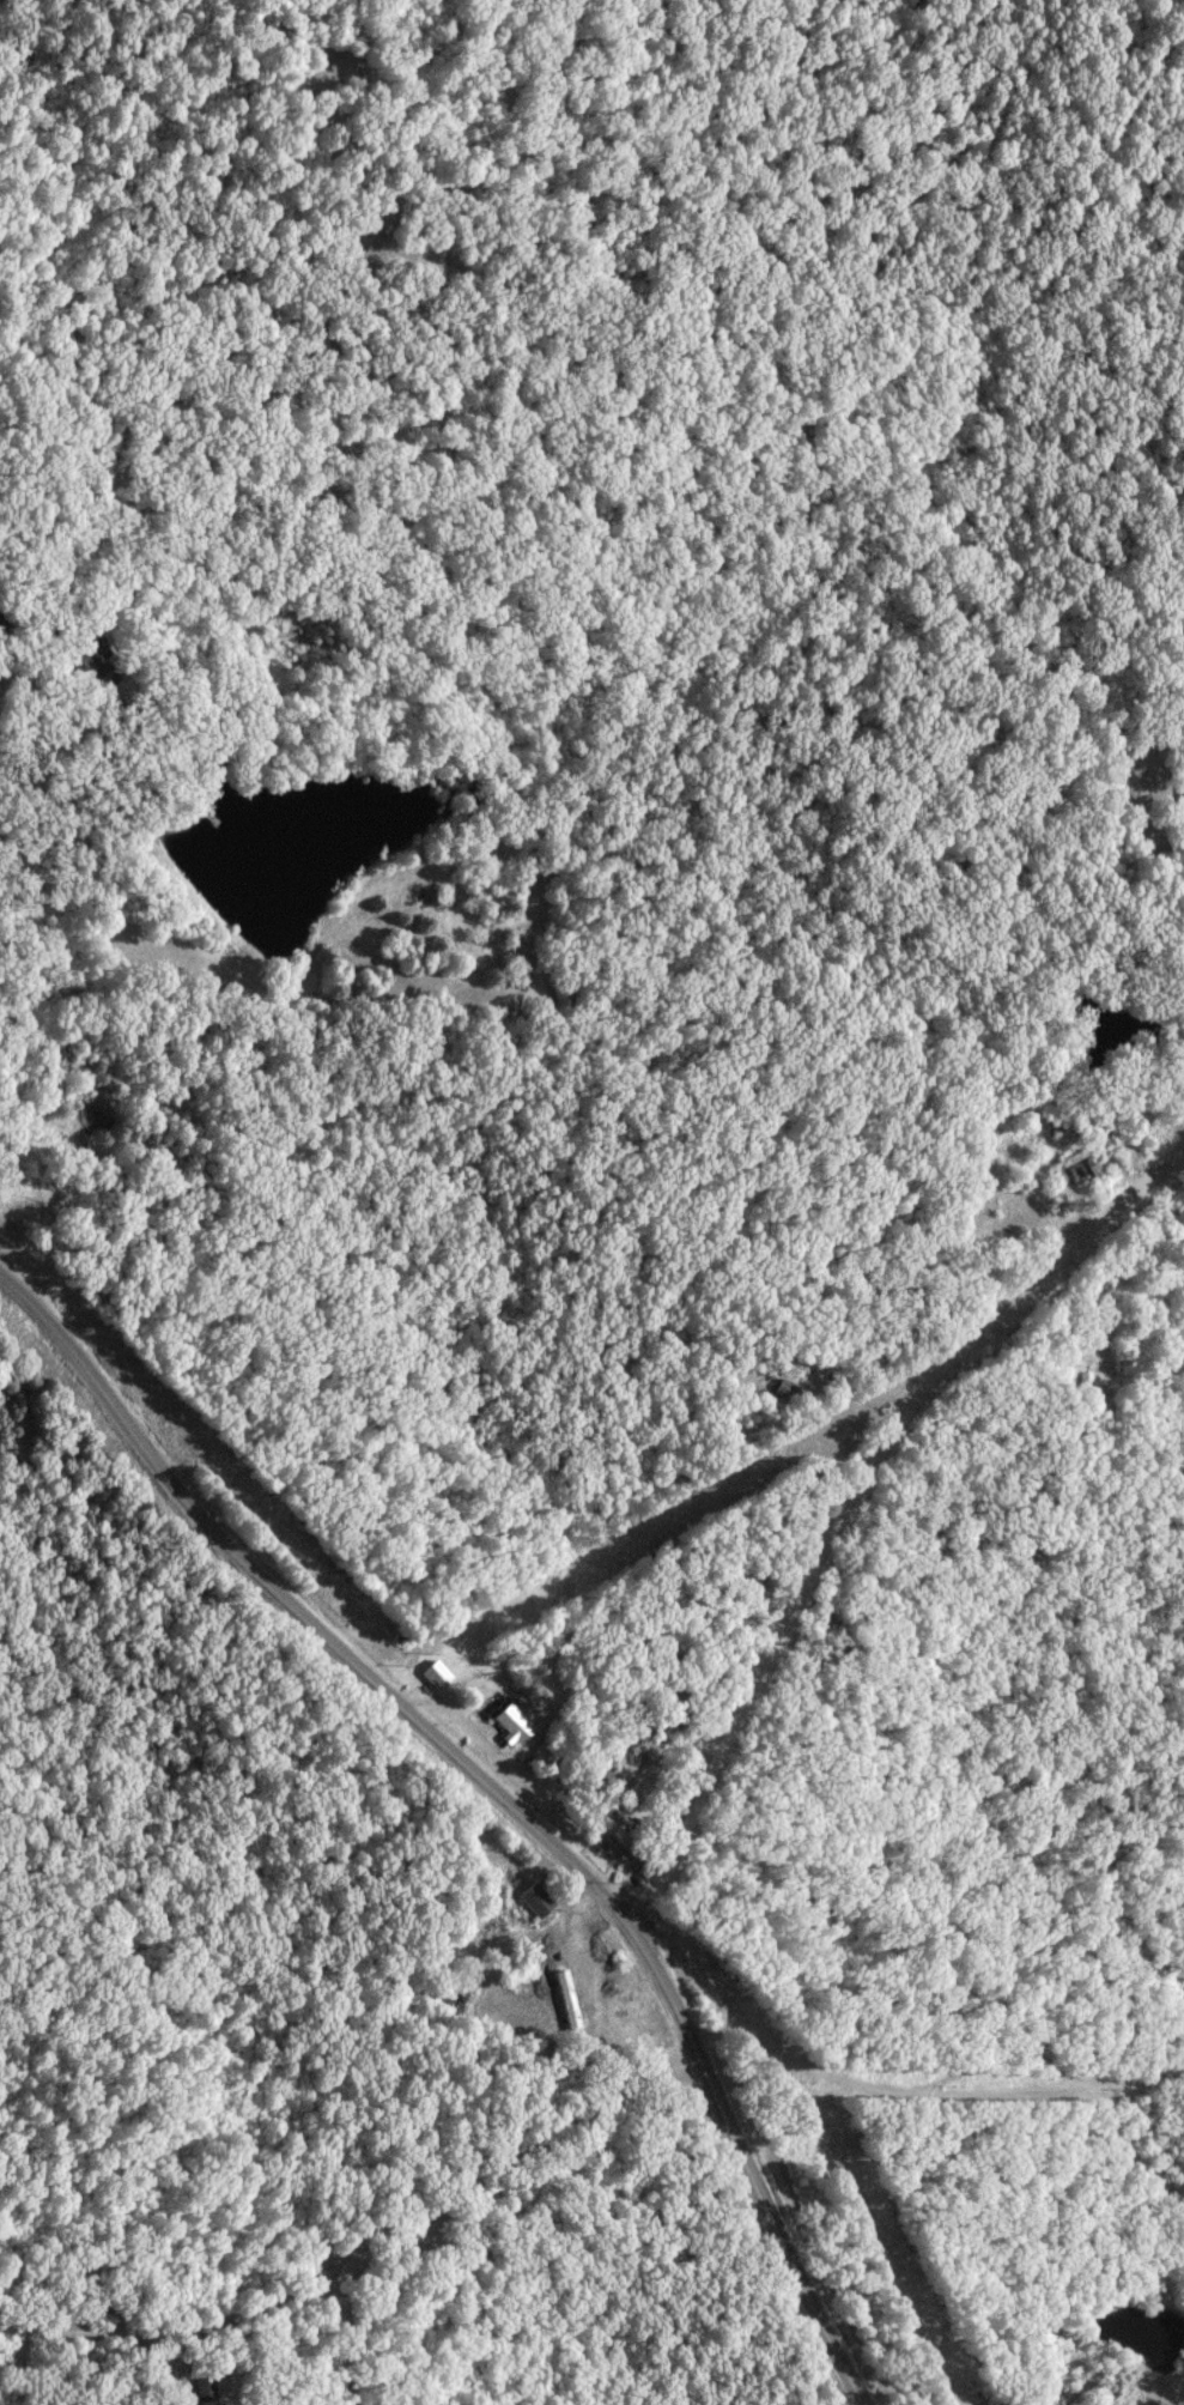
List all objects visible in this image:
building: (6, 618)
road: (1, 648)
building: (1085, 1165)
road: (849, 1492)
building: (437, 1677)
building: (515, 1727)
road: (499, 1794)
building: (541, 1907)
road: (936, 2076)
road: (510, 2143)
road: (176, 2330)
road: (348, 2338)
building: (207, 2391)

